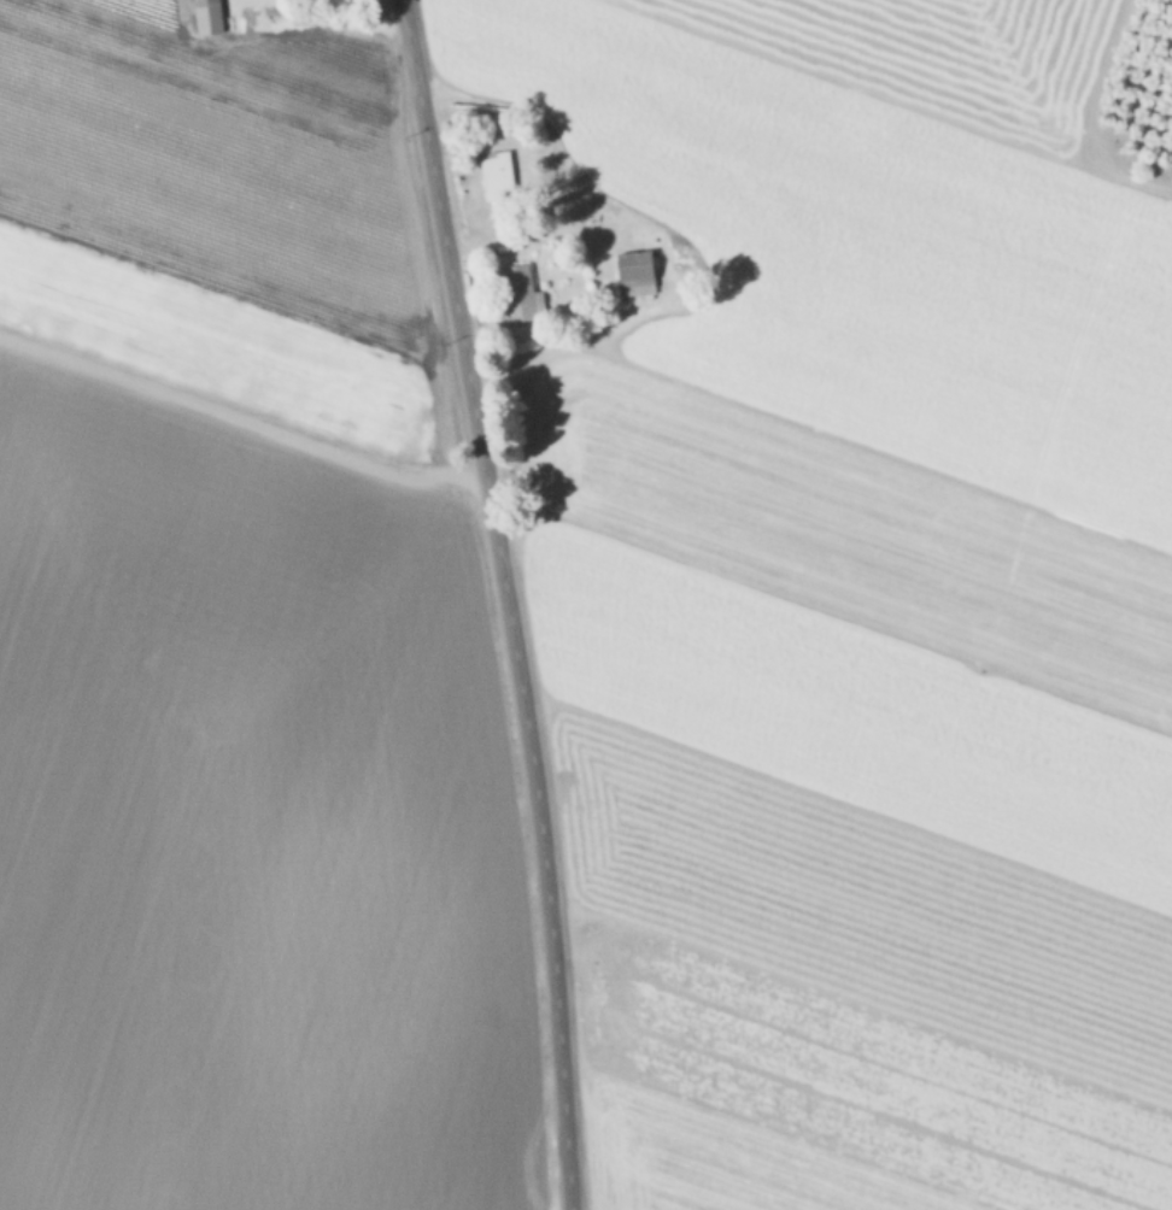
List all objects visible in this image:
building: (206, 17)
building: (496, 176)
building: (634, 272)
building: (516, 293)
crop: (846, 583)
road: (505, 601)
road: (834, 615)
crop: (242, 641)

